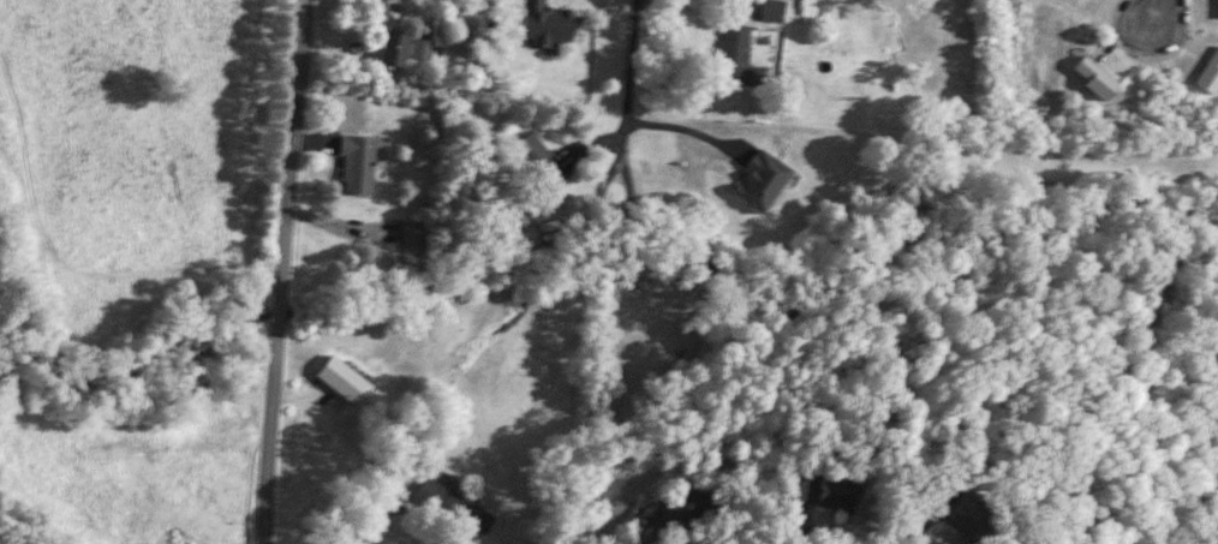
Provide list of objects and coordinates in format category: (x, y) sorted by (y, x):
road: (1160, 10)
building: (545, 23)
building: (733, 46)
building: (390, 49)
building: (420, 49)
road: (631, 83)
road: (685, 127)
building: (538, 163)
building: (354, 166)
building: (758, 181)
road: (611, 213)
building: (412, 234)
road: (275, 270)
road: (333, 434)
building: (824, 492)
building: (453, 507)
building: (687, 509)

